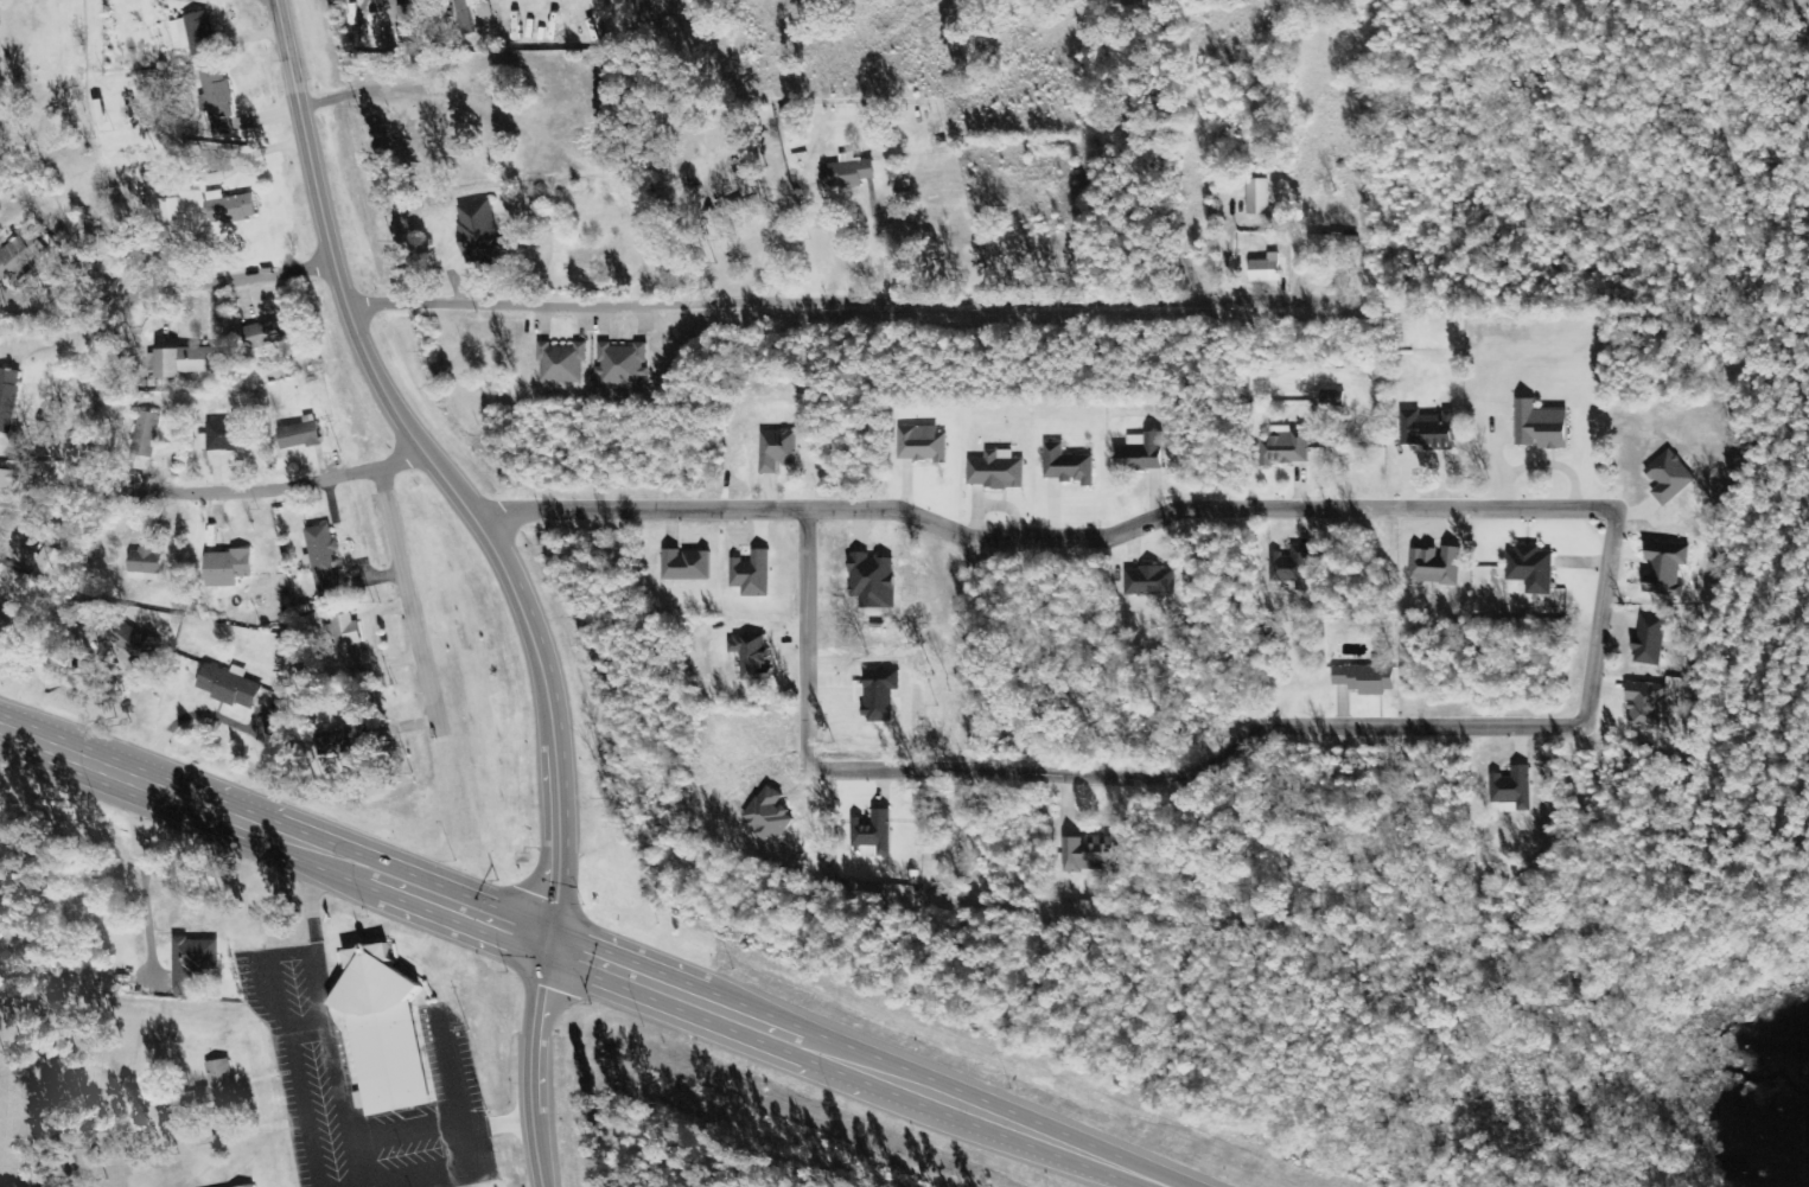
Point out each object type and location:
building: (480, 8)
building: (464, 18)
building: (435, 23)
building: (406, 26)
building: (193, 33)
building: (145, 78)
building: (216, 101)
building: (97, 111)
building: (846, 172)
building: (153, 179)
building: (745, 183)
building: (1257, 196)
building: (741, 206)
building: (229, 208)
building: (170, 210)
building: (478, 231)
building: (1332, 242)
building: (20, 256)
building: (1265, 269)
road: (837, 301)
building: (266, 333)
building: (186, 362)
building: (561, 364)
building: (622, 364)
building: (7, 398)
building: (1540, 427)
building: (1427, 430)
building: (144, 434)
road: (91, 435)
building: (225, 435)
building: (298, 435)
building: (919, 445)
building: (776, 451)
building: (1140, 454)
building: (1066, 466)
building: (994, 471)
building: (1668, 478)
building: (7, 491)
road: (998, 538)
building: (321, 562)
building: (50, 563)
building: (144, 566)
building: (684, 566)
building: (225, 568)
building: (1291, 568)
building: (1530, 569)
road: (498, 572)
building: (751, 575)
building: (872, 581)
building: (1149, 582)
road: (401, 596)
road: (1599, 617)
building: (8, 620)
road: (804, 639)
building: (1648, 640)
building: (133, 643)
building: (345, 644)
building: (749, 657)
building: (1365, 678)
building: (228, 687)
building: (1643, 704)
building: (344, 739)
road: (1199, 771)
building: (1511, 790)
building: (872, 835)
building: (1083, 856)
building: (6, 899)
traffic signals: (536, 939)
road: (581, 958)
building: (192, 962)
building: (380, 1033)
road: (454, 1076)
building: (217, 1089)
road: (337, 1089)
building: (253, 1186)

